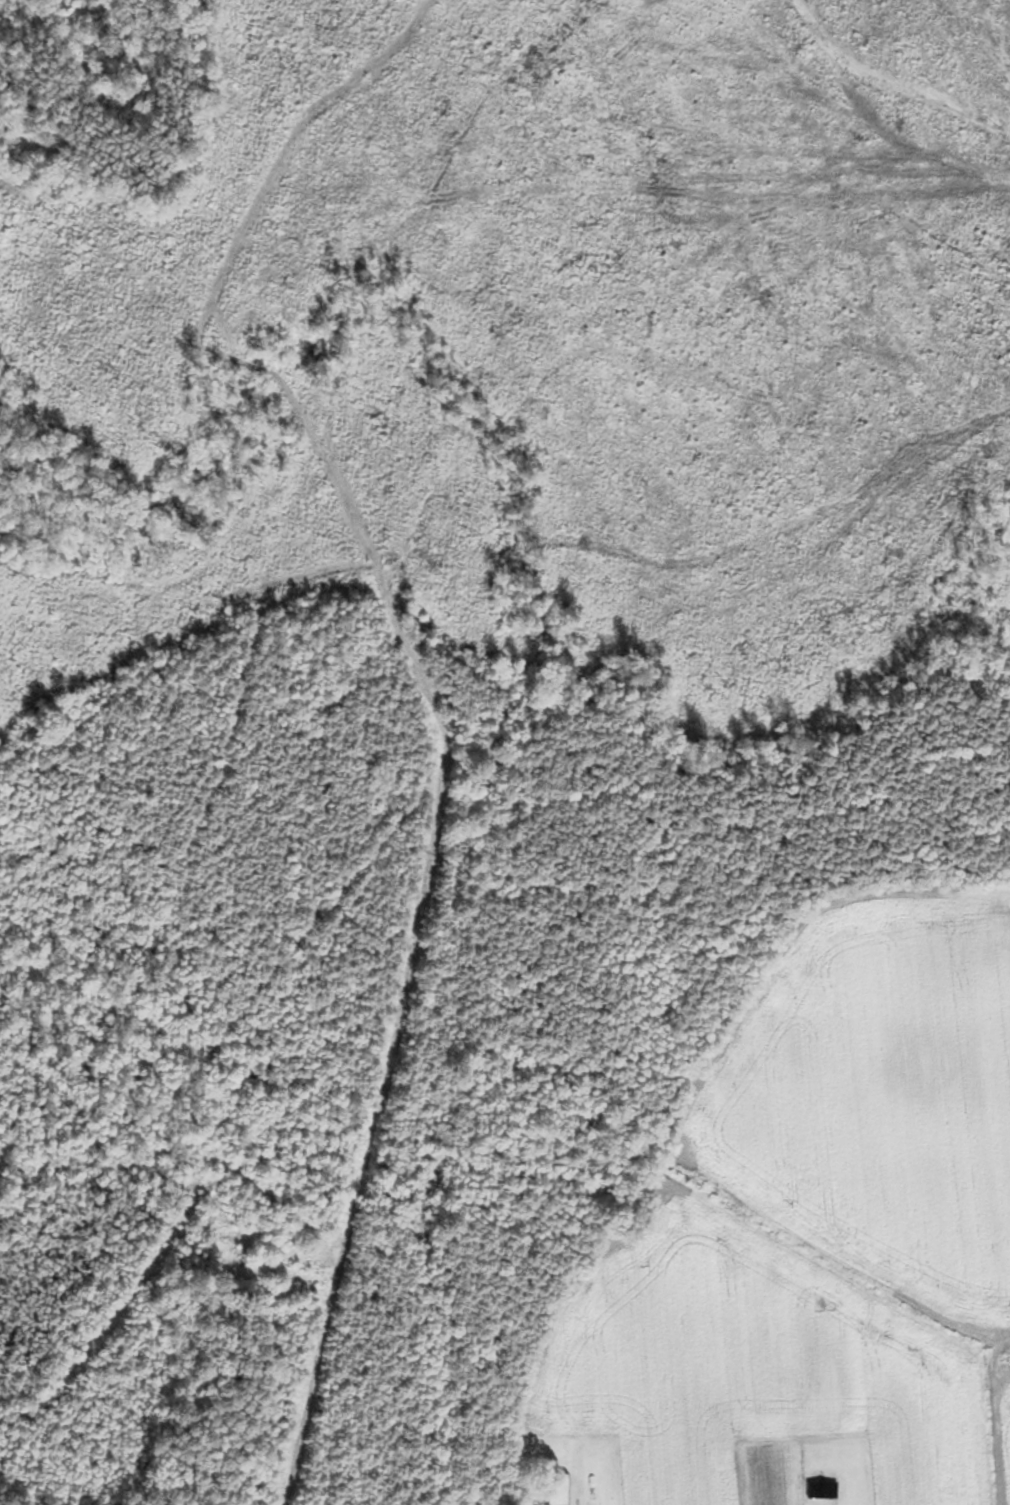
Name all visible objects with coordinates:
building: (554, 1490)
building: (821, 1491)

